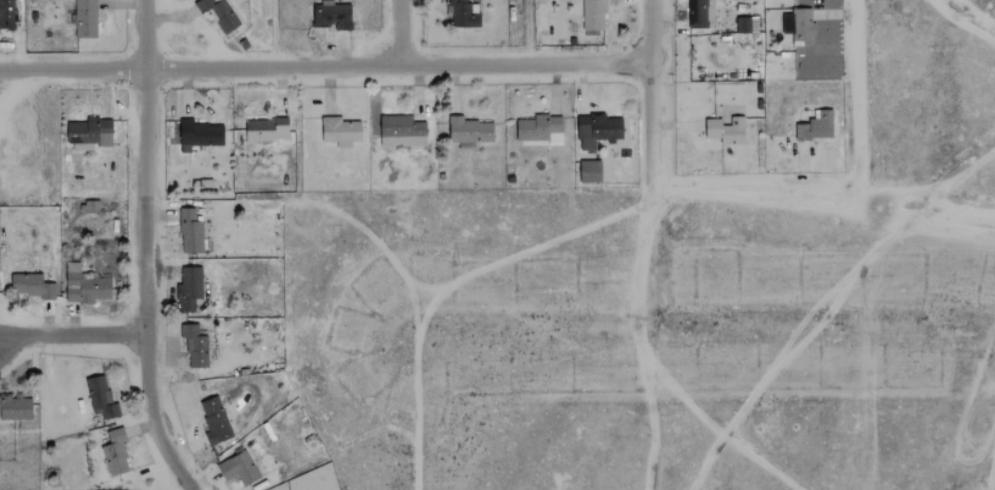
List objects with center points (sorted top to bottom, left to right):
building: (219, 13)
building: (464, 13)
building: (7, 14)
building: (594, 14)
building: (700, 14)
building: (332, 15)
building: (85, 19)
building: (747, 24)
building: (800, 27)
road: (401, 32)
road: (324, 65)
road: (650, 93)
road: (857, 102)
building: (817, 127)
building: (541, 129)
building: (267, 130)
building: (597, 130)
building: (726, 130)
building: (340, 131)
building: (401, 132)
building: (469, 132)
building: (89, 133)
building: (199, 135)
building: (590, 171)
road: (823, 200)
building: (91, 207)
building: (190, 232)
road: (146, 249)
building: (32, 286)
building: (84, 286)
building: (189, 289)
road: (72, 337)
building: (195, 346)
building: (101, 398)
building: (15, 408)
building: (215, 420)
building: (115, 453)
building: (238, 469)

